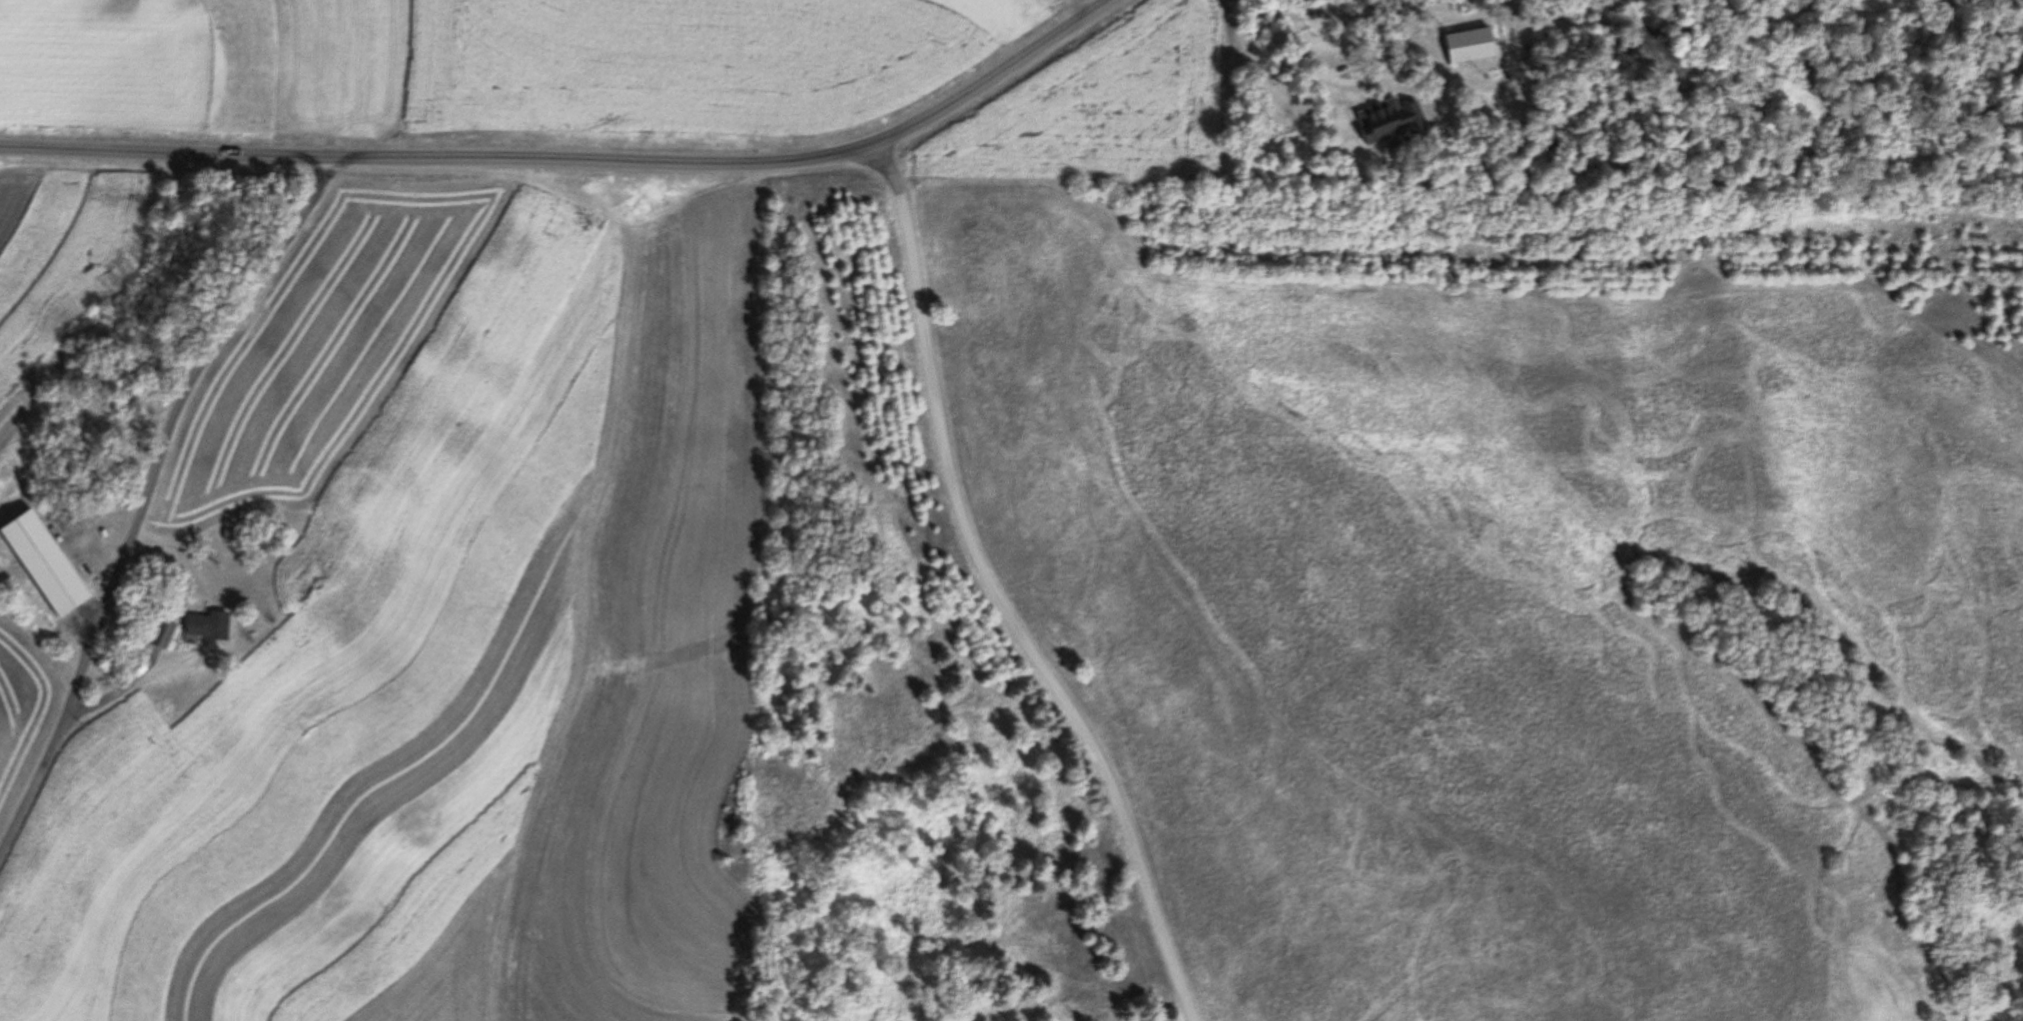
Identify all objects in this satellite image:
building: (1389, 121)
road: (591, 161)
road: (150, 490)
building: (231, 536)
building: (52, 577)
road: (998, 604)
building: (207, 626)
building: (163, 635)

